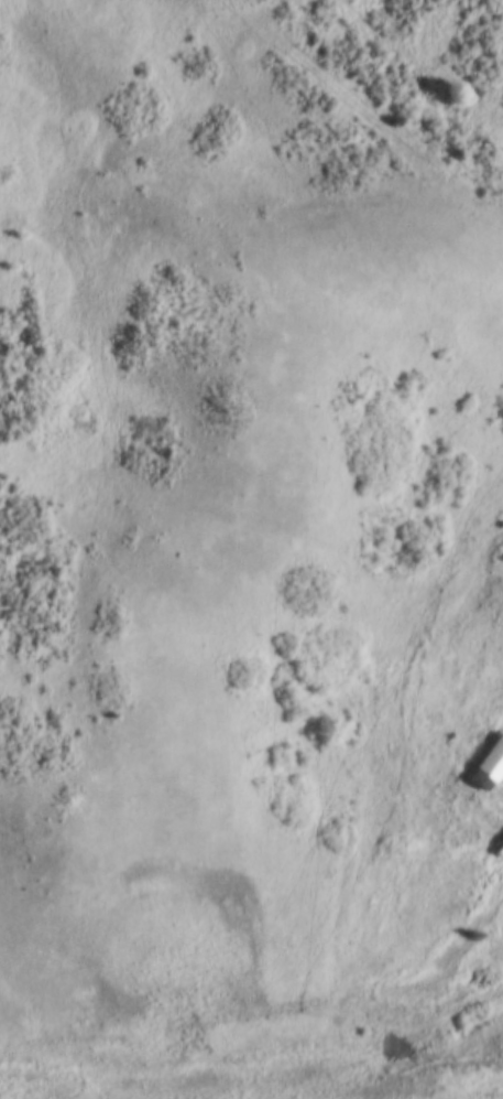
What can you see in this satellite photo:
building: (485, 762)
road: (500, 805)

